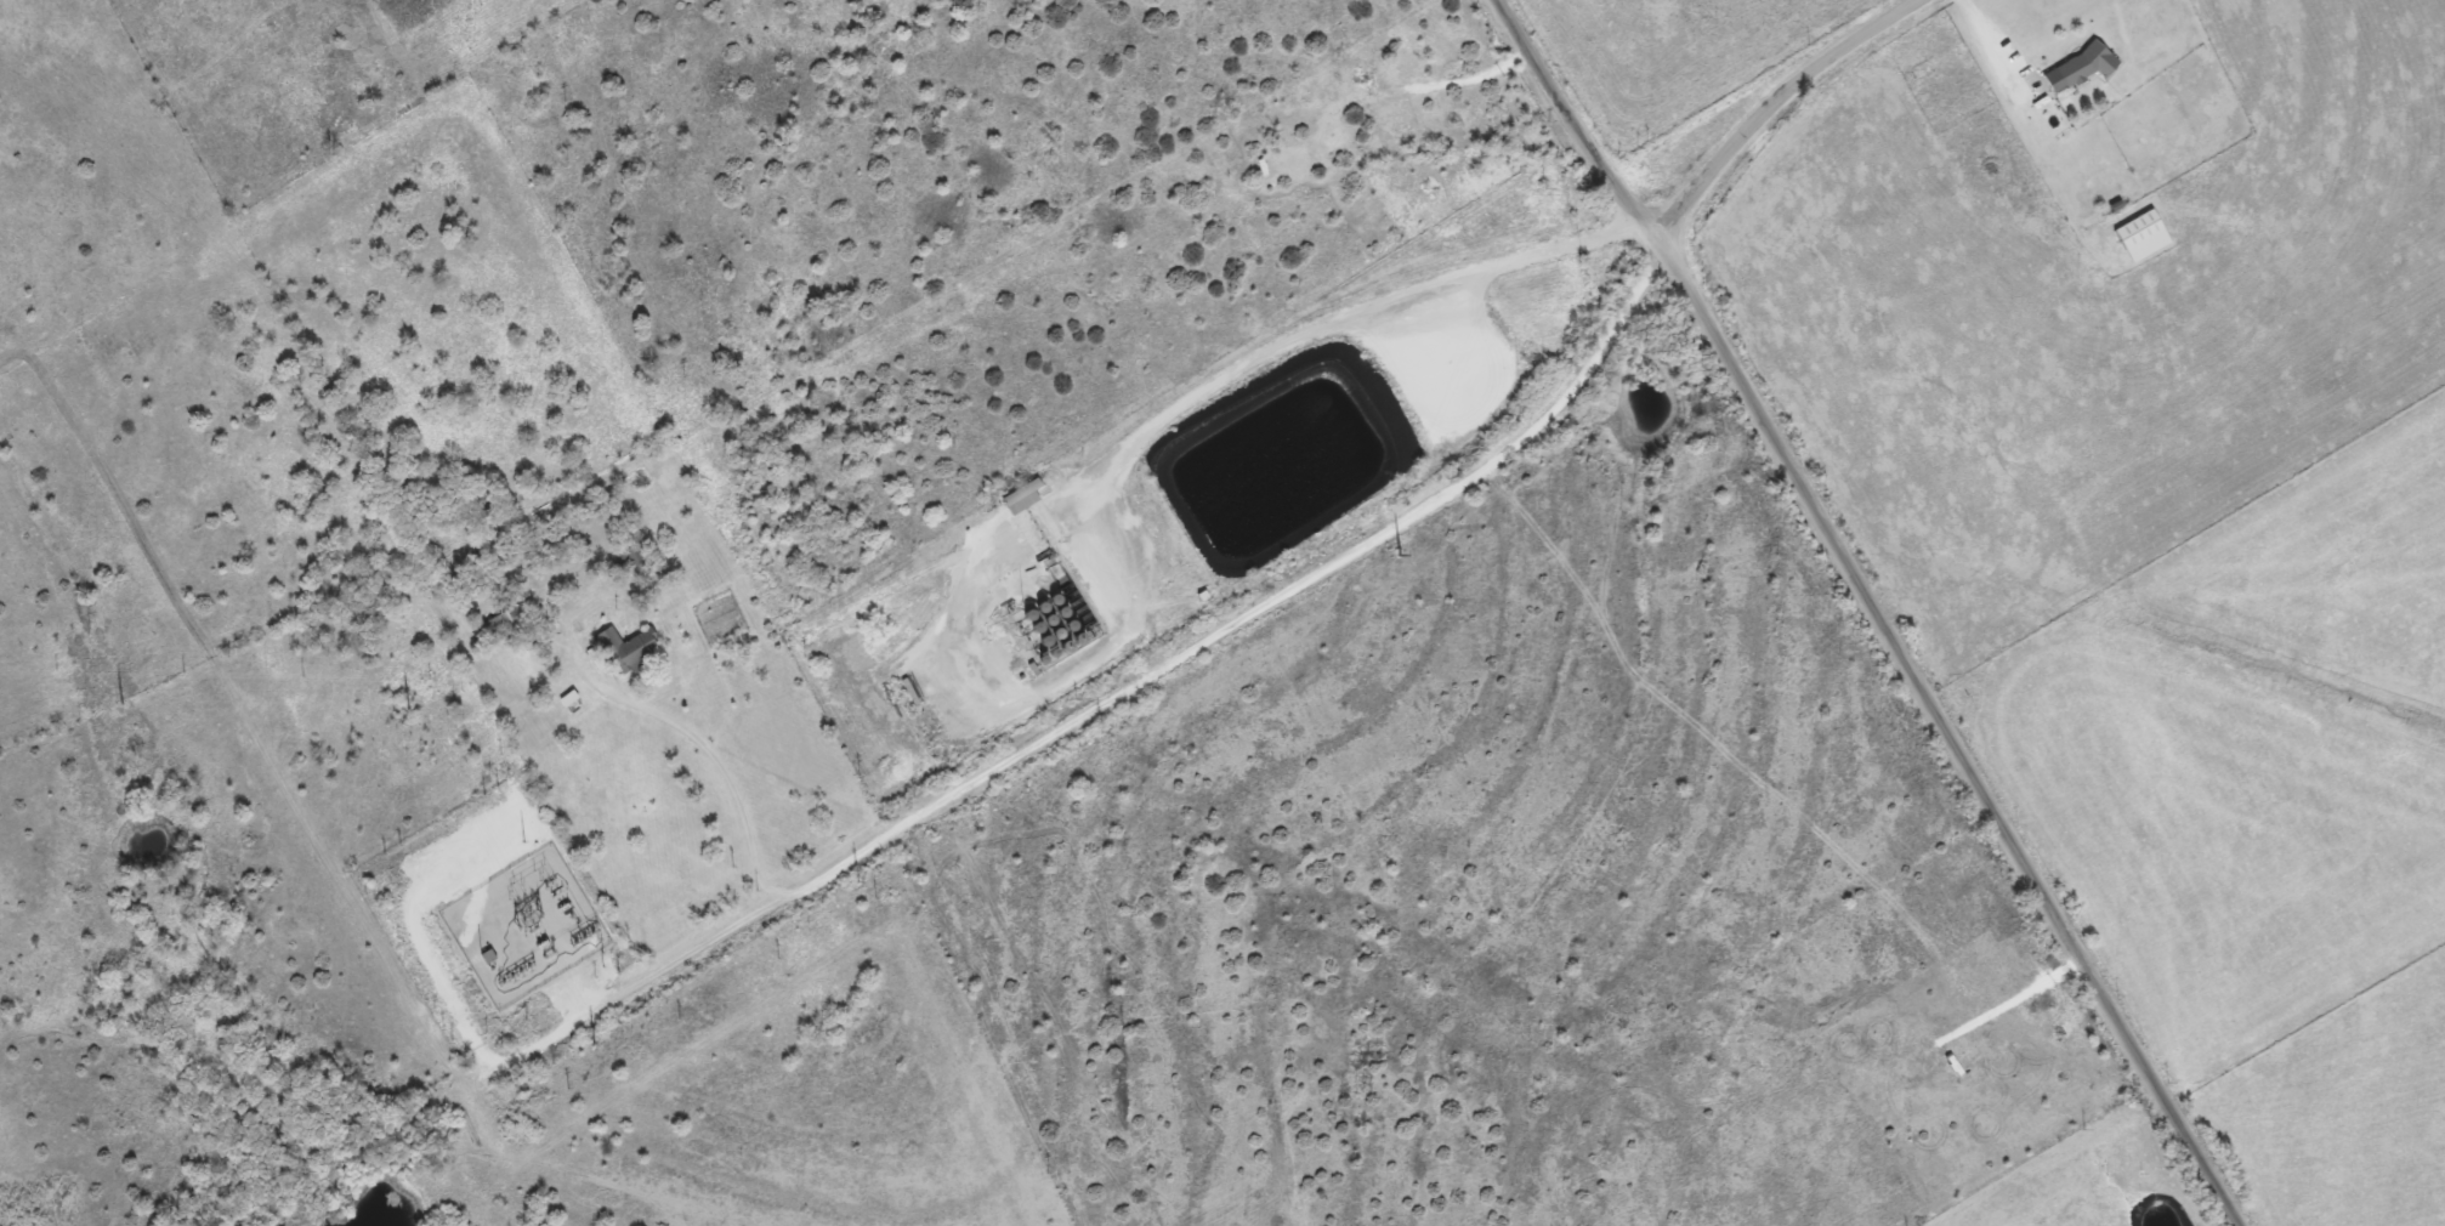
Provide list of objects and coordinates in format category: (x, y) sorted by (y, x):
road: (1989, 40)
building: (2075, 67)
road: (1476, 80)
road: (1779, 106)
building: (2138, 235)
road: (1198, 396)
building: (1015, 499)
building: (631, 561)
road: (1258, 600)
road: (1880, 608)
building: (625, 649)
road: (715, 768)
power substation: (522, 926)
road: (504, 1058)

